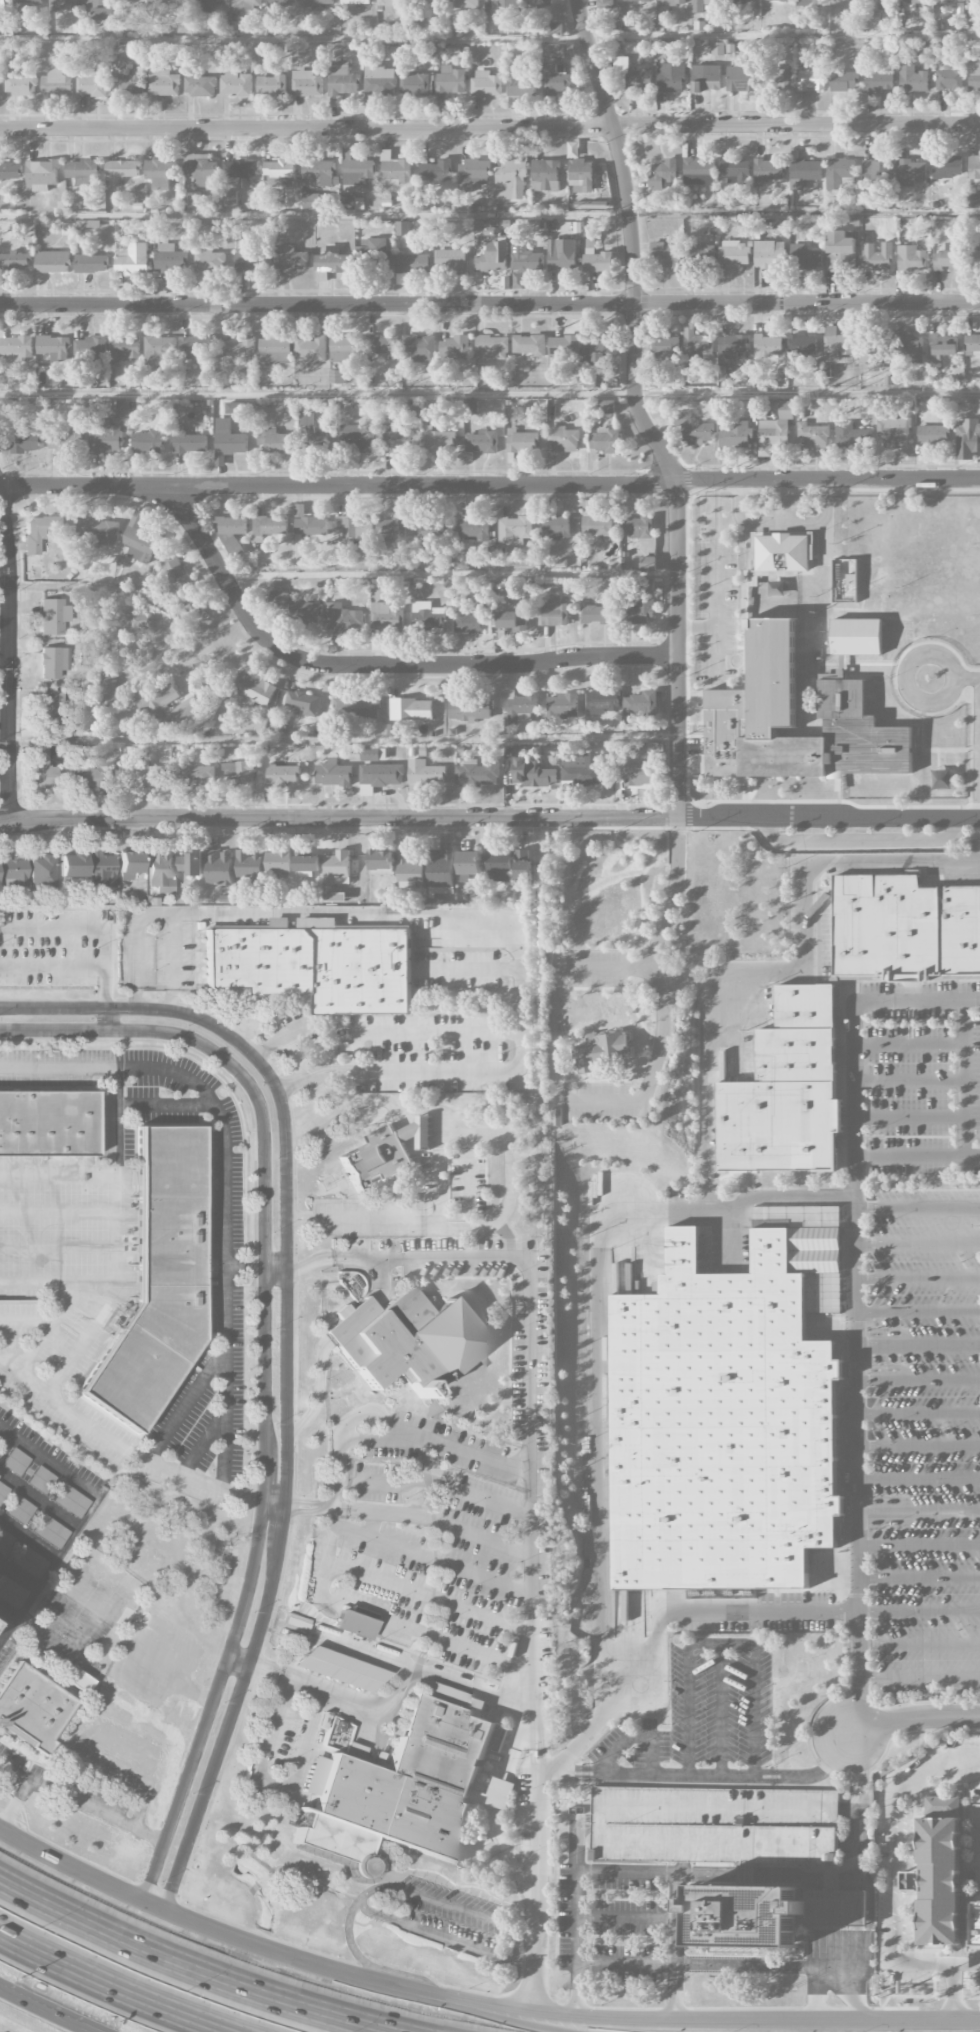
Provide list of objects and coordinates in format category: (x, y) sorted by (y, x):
building: (637, 0)
building: (716, 0)
building: (775, 0)
building: (285, 1)
building: (913, 1)
building: (318, 2)
building: (431, 2)
building: (537, 2)
building: (671, 2)
building: (809, 2)
building: (28, 4)
building: (62, 4)
building: (352, 4)
building: (464, 4)
building: (604, 4)
building: (206, 5)
building: (246, 5)
building: (878, 5)
building: (2, 6)
building: (173, 6)
building: (697, 6)
building: (393, 7)
building: (138, 8)
building: (102, 9)
building: (513, 18)
building: (872, 21)
building: (554, 29)
road: (292, 37)
building: (717, 49)
building: (565, 52)
building: (632, 75)
building: (974, 75)
building: (671, 78)
building: (706, 78)
building: (781, 78)
building: (342, 79)
building: (557, 79)
building: (741, 79)
building: (912, 79)
building: (948, 79)
building: (811, 80)
building: (843, 81)
building: (163, 82)
building: (879, 82)
building: (57, 83)
building: (129, 83)
building: (235, 83)
building: (306, 83)
building: (378, 83)
building: (451, 83)
building: (521, 83)
building: (92, 84)
building: (415, 84)
building: (486, 84)
building: (21, 85)
building: (200, 86)
building: (271, 86)
road: (490, 128)
building: (974, 167)
building: (122, 169)
building: (10, 170)
building: (200, 170)
building: (395, 170)
building: (279, 171)
building: (698, 171)
building: (735, 171)
building: (767, 171)
building: (876, 171)
building: (82, 172)
building: (436, 172)
building: (663, 172)
building: (910, 172)
building: (356, 173)
building: (804, 173)
building: (840, 173)
building: (42, 175)
building: (472, 175)
building: (545, 175)
building: (581, 176)
building: (237, 178)
building: (511, 181)
building: (870, 198)
building: (193, 199)
building: (973, 201)
building: (312, 202)
building: (354, 203)
road: (314, 215)
building: (403, 228)
building: (840, 251)
building: (702, 253)
building: (734, 254)
building: (372, 255)
building: (562, 255)
building: (768, 255)
building: (664, 256)
building: (877, 257)
building: (947, 257)
building: (290, 258)
building: (493, 258)
building: (804, 258)
building: (911, 258)
building: (133, 259)
building: (170, 259)
building: (526, 259)
building: (15, 260)
building: (974, 260)
building: (208, 261)
building: (251, 261)
building: (52, 262)
building: (451, 262)
building: (599, 262)
building: (330, 263)
building: (91, 264)
building: (410, 266)
road: (490, 306)
building: (836, 344)
building: (275, 345)
building: (944, 345)
building: (383, 346)
building: (529, 346)
building: (564, 346)
building: (696, 346)
building: (732, 346)
building: (767, 346)
building: (802, 346)
building: (52, 347)
building: (240, 347)
building: (345, 347)
building: (454, 347)
building: (666, 347)
building: (16, 348)
building: (124, 348)
building: (160, 348)
building: (195, 348)
building: (420, 348)
building: (492, 348)
building: (909, 348)
building: (90, 349)
building: (597, 349)
building: (311, 350)
building: (869, 356)
building: (874, 368)
building: (337, 377)
road: (318, 392)
road: (807, 392)
power tower: (377, 396)
power tower: (588, 396)
power tower: (170, 397)
power tower: (825, 397)
building: (606, 407)
building: (234, 408)
road: (640, 409)
building: (122, 411)
building: (693, 430)
building: (775, 430)
building: (311, 431)
building: (893, 432)
building: (735, 435)
building: (932, 435)
building: (66, 436)
building: (813, 436)
building: (851, 436)
building: (106, 438)
building: (355, 439)
building: (563, 439)
building: (967, 440)
building: (26, 441)
building: (147, 441)
building: (228, 441)
building: (272, 441)
building: (521, 441)
building: (604, 441)
building: (188, 442)
building: (394, 442)
building: (439, 442)
building: (481, 442)
road: (827, 480)
road: (1, 487)
road: (339, 487)
road: (825, 520)
road: (763, 522)
building: (309, 525)
building: (231, 526)
building: (270, 526)
building: (597, 526)
building: (556, 527)
building: (637, 527)
building: (353, 528)
building: (392, 528)
building: (475, 528)
building: (432, 529)
building: (515, 530)
building: (41, 531)
building: (98, 531)
building: (141, 540)
building: (782, 551)
building: (647, 563)
road: (5, 566)
building: (177, 574)
road: (449, 575)
building: (844, 581)
building: (294, 607)
road: (716, 610)
building: (639, 611)
building: (555, 612)
building: (598, 614)
building: (53, 616)
building: (426, 616)
building: (385, 617)
building: (511, 617)
building: (342, 619)
building: (469, 622)
building: (138, 625)
road: (697, 627)
building: (857, 635)
road: (185, 641)
road: (932, 653)
road: (5, 654)
road: (11, 657)
building: (54, 662)
road: (377, 666)
road: (967, 676)
building: (252, 689)
building: (107, 692)
building: (602, 700)
building: (750, 701)
building: (153, 703)
building: (304, 703)
building: (641, 704)
building: (562, 707)
building: (53, 708)
building: (358, 708)
building: (520, 709)
building: (411, 710)
building: (469, 710)
building: (81, 720)
road: (5, 738)
road: (344, 739)
road: (979, 746)
building: (56, 752)
building: (42, 767)
building: (86, 769)
building: (379, 769)
building: (530, 770)
building: (582, 770)
building: (142, 771)
building: (238, 771)
building: (333, 774)
building: (477, 774)
building: (633, 774)
building: (196, 775)
building: (283, 775)
building: (425, 776)
building: (367, 791)
road: (489, 819)
road: (863, 839)
building: (277, 862)
building: (380, 862)
building: (191, 863)
building: (468, 863)
building: (128, 864)
building: (247, 864)
building: (307, 864)
building: (498, 865)
building: (72, 866)
building: (523, 866)
building: (219, 868)
building: (337, 868)
building: (12, 871)
building: (160, 871)
building: (410, 871)
building: (43, 872)
building: (440, 872)
building: (335, 897)
road: (482, 912)
road: (73, 926)
building: (904, 931)
road: (173, 961)
building: (316, 964)
road: (53, 966)
road: (602, 967)
road: (468, 968)
road: (788, 972)
road: (107, 999)
road: (662, 1000)
building: (806, 1006)
road: (418, 1034)
road: (282, 1038)
road: (911, 1043)
building: (604, 1051)
building: (796, 1053)
road: (966, 1077)
road: (911, 1080)
road: (166, 1105)
road: (911, 1115)
building: (556, 1117)
building: (47, 1120)
building: (778, 1123)
road: (464, 1128)
road: (917, 1155)
building: (377, 1156)
road: (59, 1174)
road: (225, 1181)
road: (438, 1187)
road: (467, 1198)
road: (918, 1206)
road: (59, 1211)
road: (361, 1224)
road: (119, 1241)
road: (918, 1243)
road: (59, 1247)
road: (506, 1256)
road: (245, 1265)
road: (918, 1277)
building: (158, 1279)
road: (59, 1282)
road: (857, 1305)
road: (918, 1310)
road: (26, 1320)
road: (48, 1328)
building: (406, 1338)
road: (918, 1345)
road: (287, 1354)
road: (265, 1367)
road: (598, 1368)
road: (919, 1379)
road: (186, 1404)
road: (919, 1412)
building: (721, 1427)
road: (341, 1430)
road: (438, 1442)
road: (204, 1443)
road: (919, 1445)
road: (122, 1447)
building: (15, 1461)
road: (919, 1478)
building: (42, 1480)
road: (444, 1486)
building: (2, 1491)
road: (39, 1498)
building: (72, 1501)
road: (296, 1503)
building: (20, 1510)
road: (919, 1511)
road: (84, 1516)
road: (435, 1519)
building: (51, 1531)
road: (28, 1537)
building: (5, 1542)
road: (919, 1544)
building: (29, 1561)
road: (324, 1566)
road: (18, 1573)
road: (919, 1576)
building: (11, 1592)
road: (430, 1596)
road: (62, 1602)
road: (919, 1610)
road: (707, 1611)
building: (353, 1623)
road: (535, 1623)
road: (722, 1643)
road: (919, 1644)
road: (67, 1647)
road: (363, 1650)
road: (239, 1660)
building: (339, 1669)
road: (919, 1677)
building: (80, 1681)
road: (472, 1689)
road: (338, 1695)
building: (32, 1706)
road: (721, 1708)
road: (914, 1718)
road: (366, 1725)
road: (634, 1735)
road: (546, 1770)
road: (712, 1773)
road: (272, 1782)
building: (401, 1788)
building: (972, 1793)
building: (499, 1794)
road: (80, 1802)
road: (16, 1803)
road: (849, 1808)
road: (495, 1810)
building: (715, 1825)
parking lot: (715, 1825)
road: (849, 1847)
building: (938, 1872)
road: (893, 1873)
road: (787, 1875)
road: (390, 1884)
road: (537, 1890)
building: (836, 1904)
road: (577, 1910)
building: (747, 1915)
road: (626, 1917)
road: (838, 1920)
building: (975, 1922)
road: (211, 1929)
road: (436, 1935)
road: (675, 1940)
road: (528, 1946)
road: (707, 1964)
road: (179, 1969)
road: (112, 1986)
road: (817, 1993)
road: (953, 1993)
road: (849, 1996)
road: (51, 2008)
road: (494, 2015)
road: (687, 2019)
road: (959, 2021)

